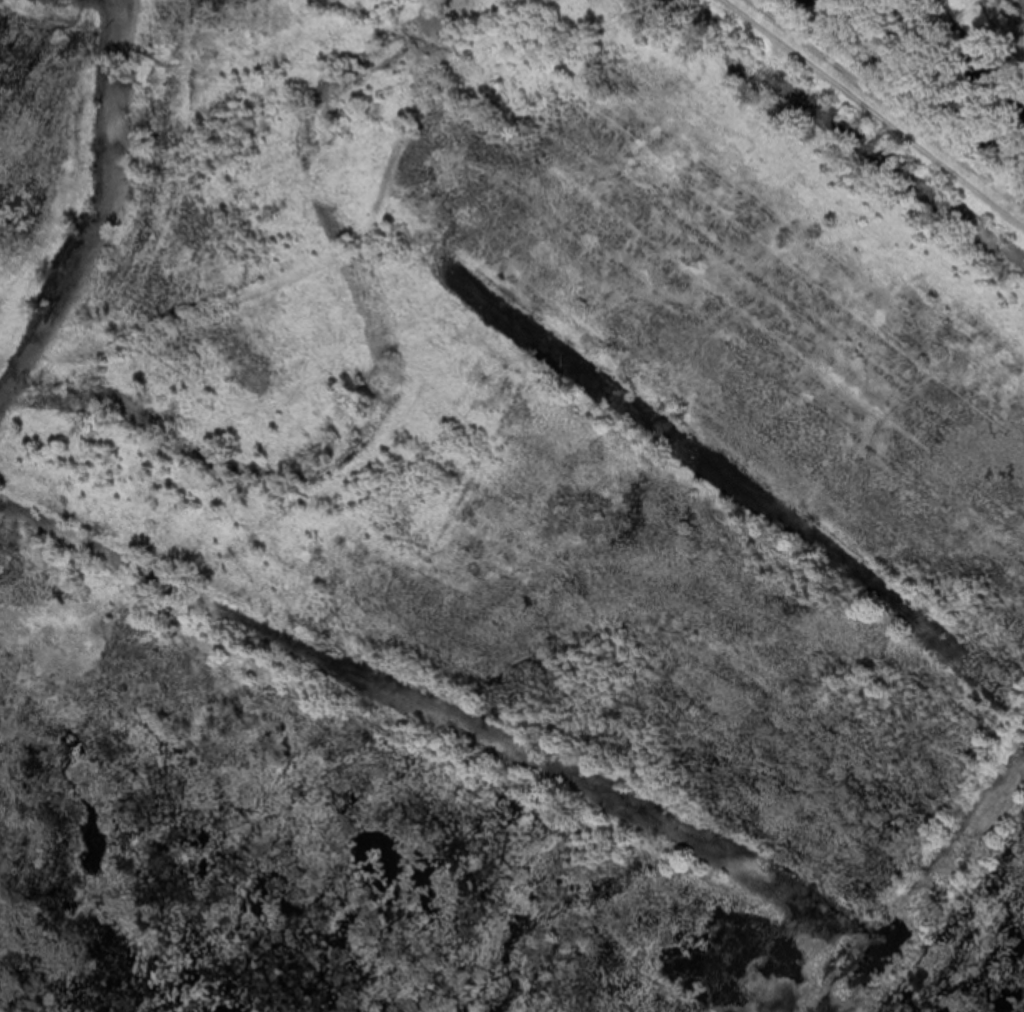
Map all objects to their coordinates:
road: (766, 16)
river: (933, 40)
road: (906, 123)

